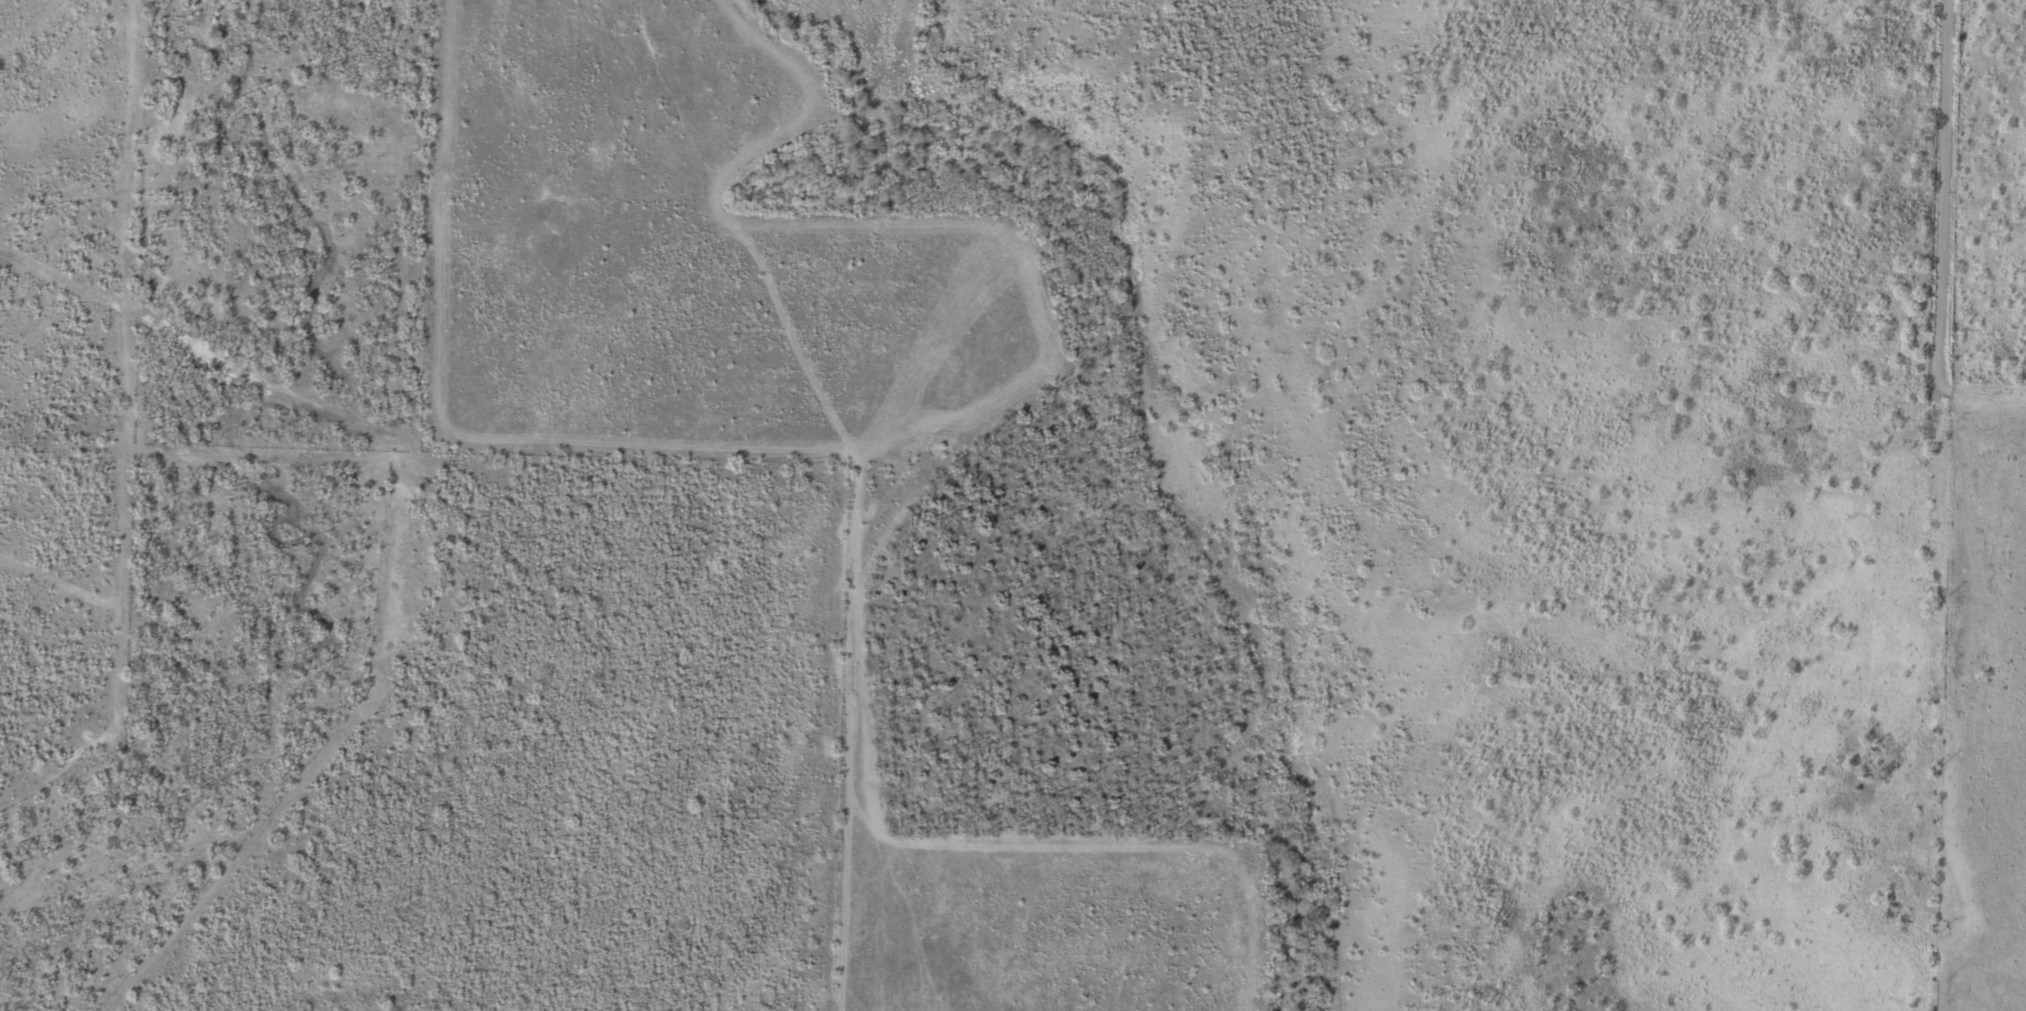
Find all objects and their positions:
road: (1946, 190)

